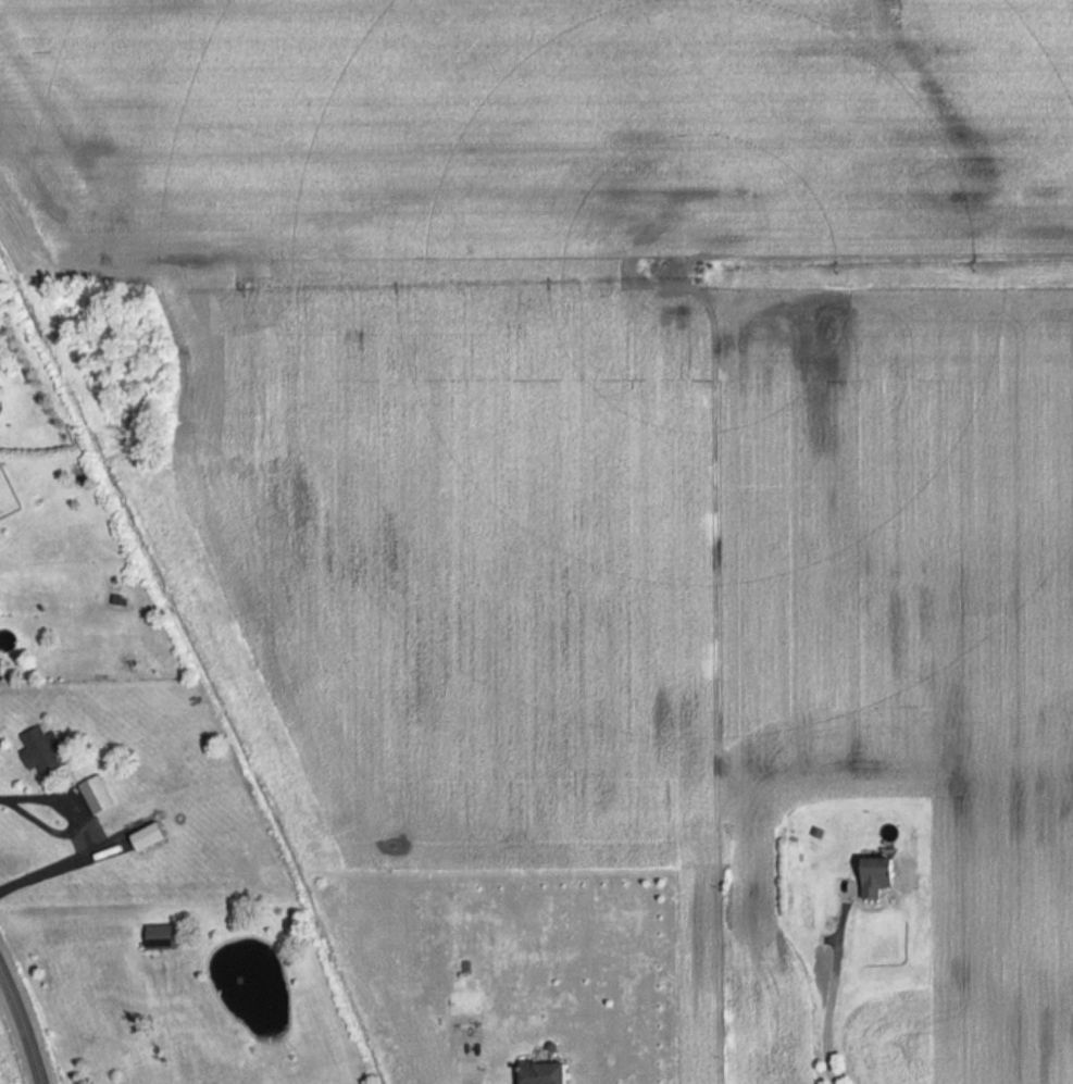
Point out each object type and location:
building: (0, 663)
building: (40, 749)
building: (96, 795)
road: (84, 836)
building: (149, 836)
building: (878, 875)
building: (161, 935)
road: (833, 986)
road: (23, 1025)
building: (546, 1073)

